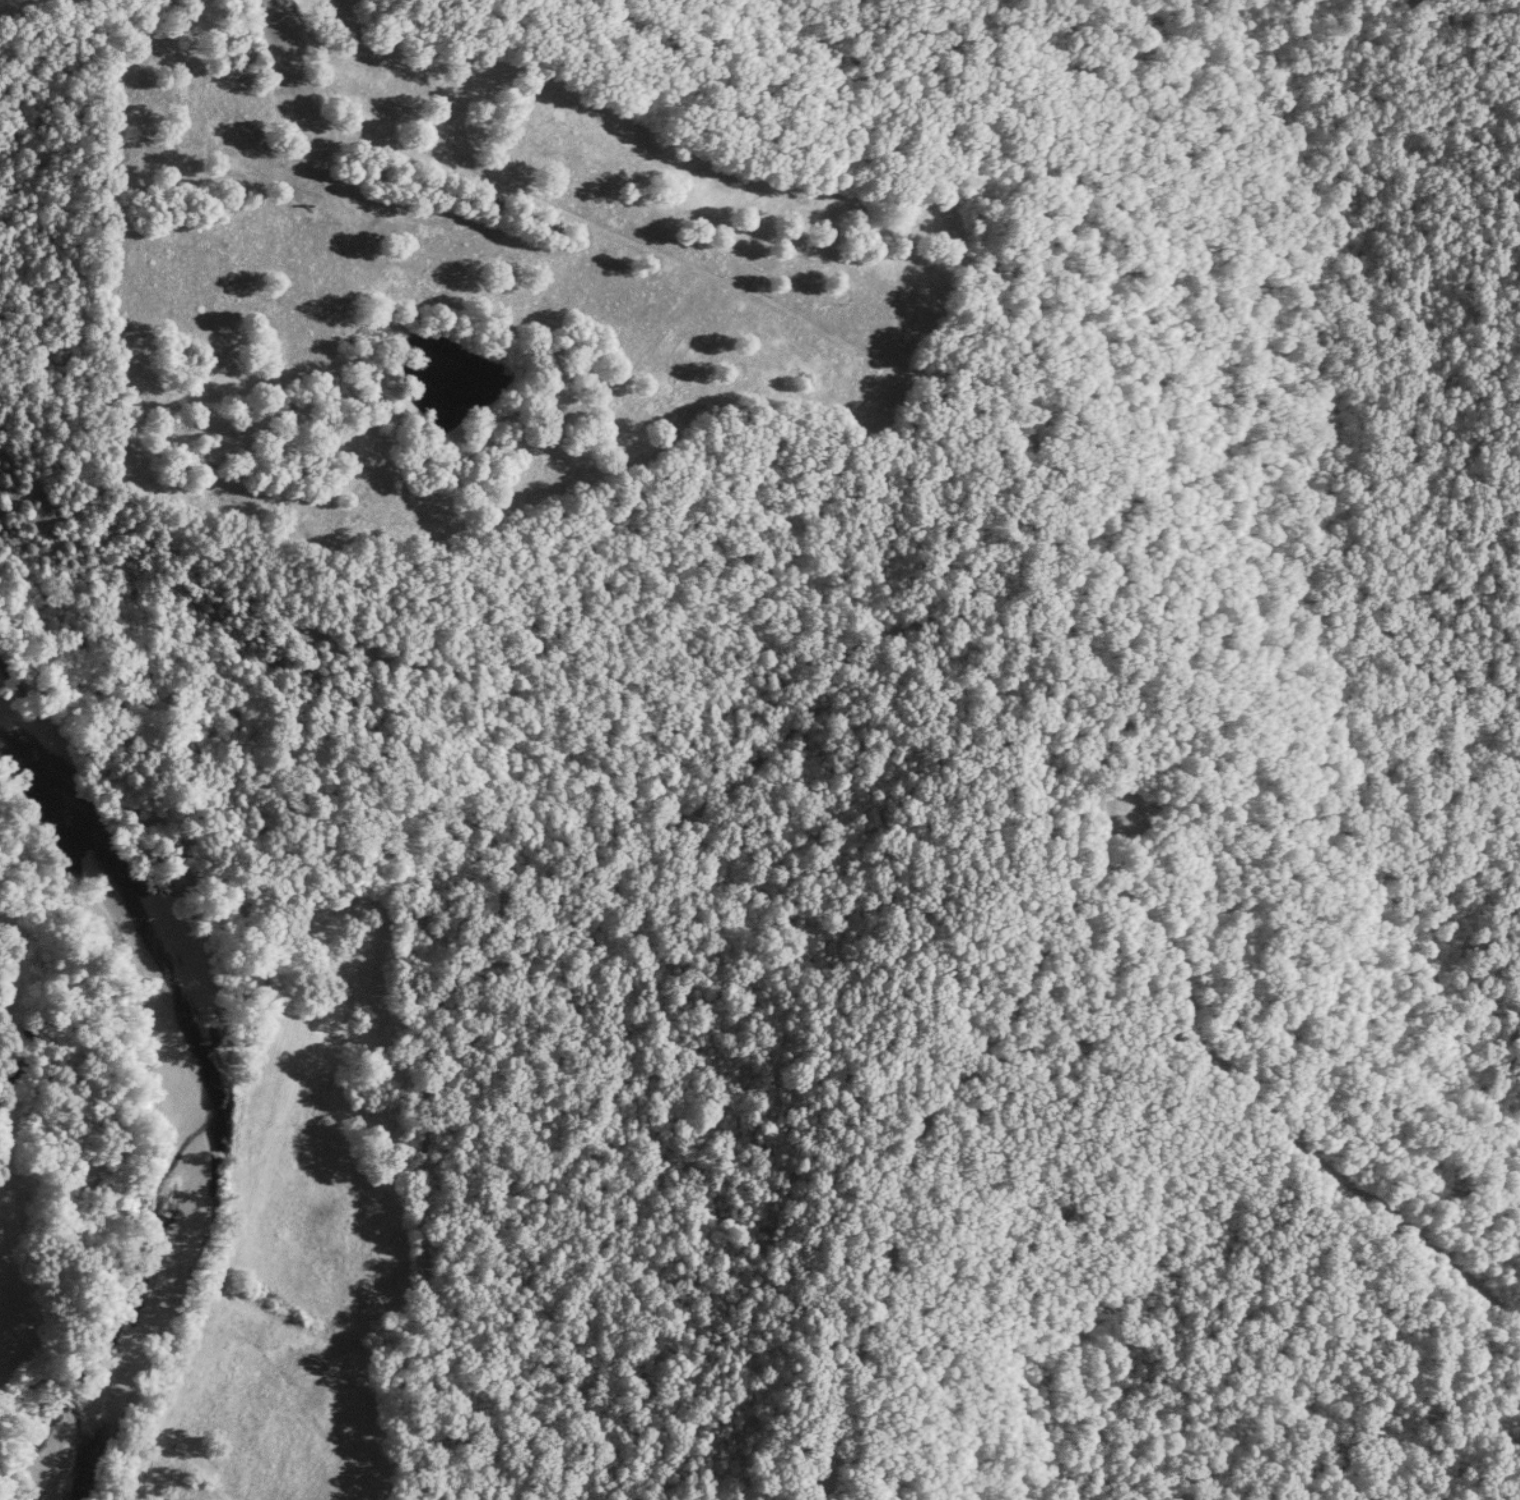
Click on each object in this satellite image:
road: (1048, 595)

